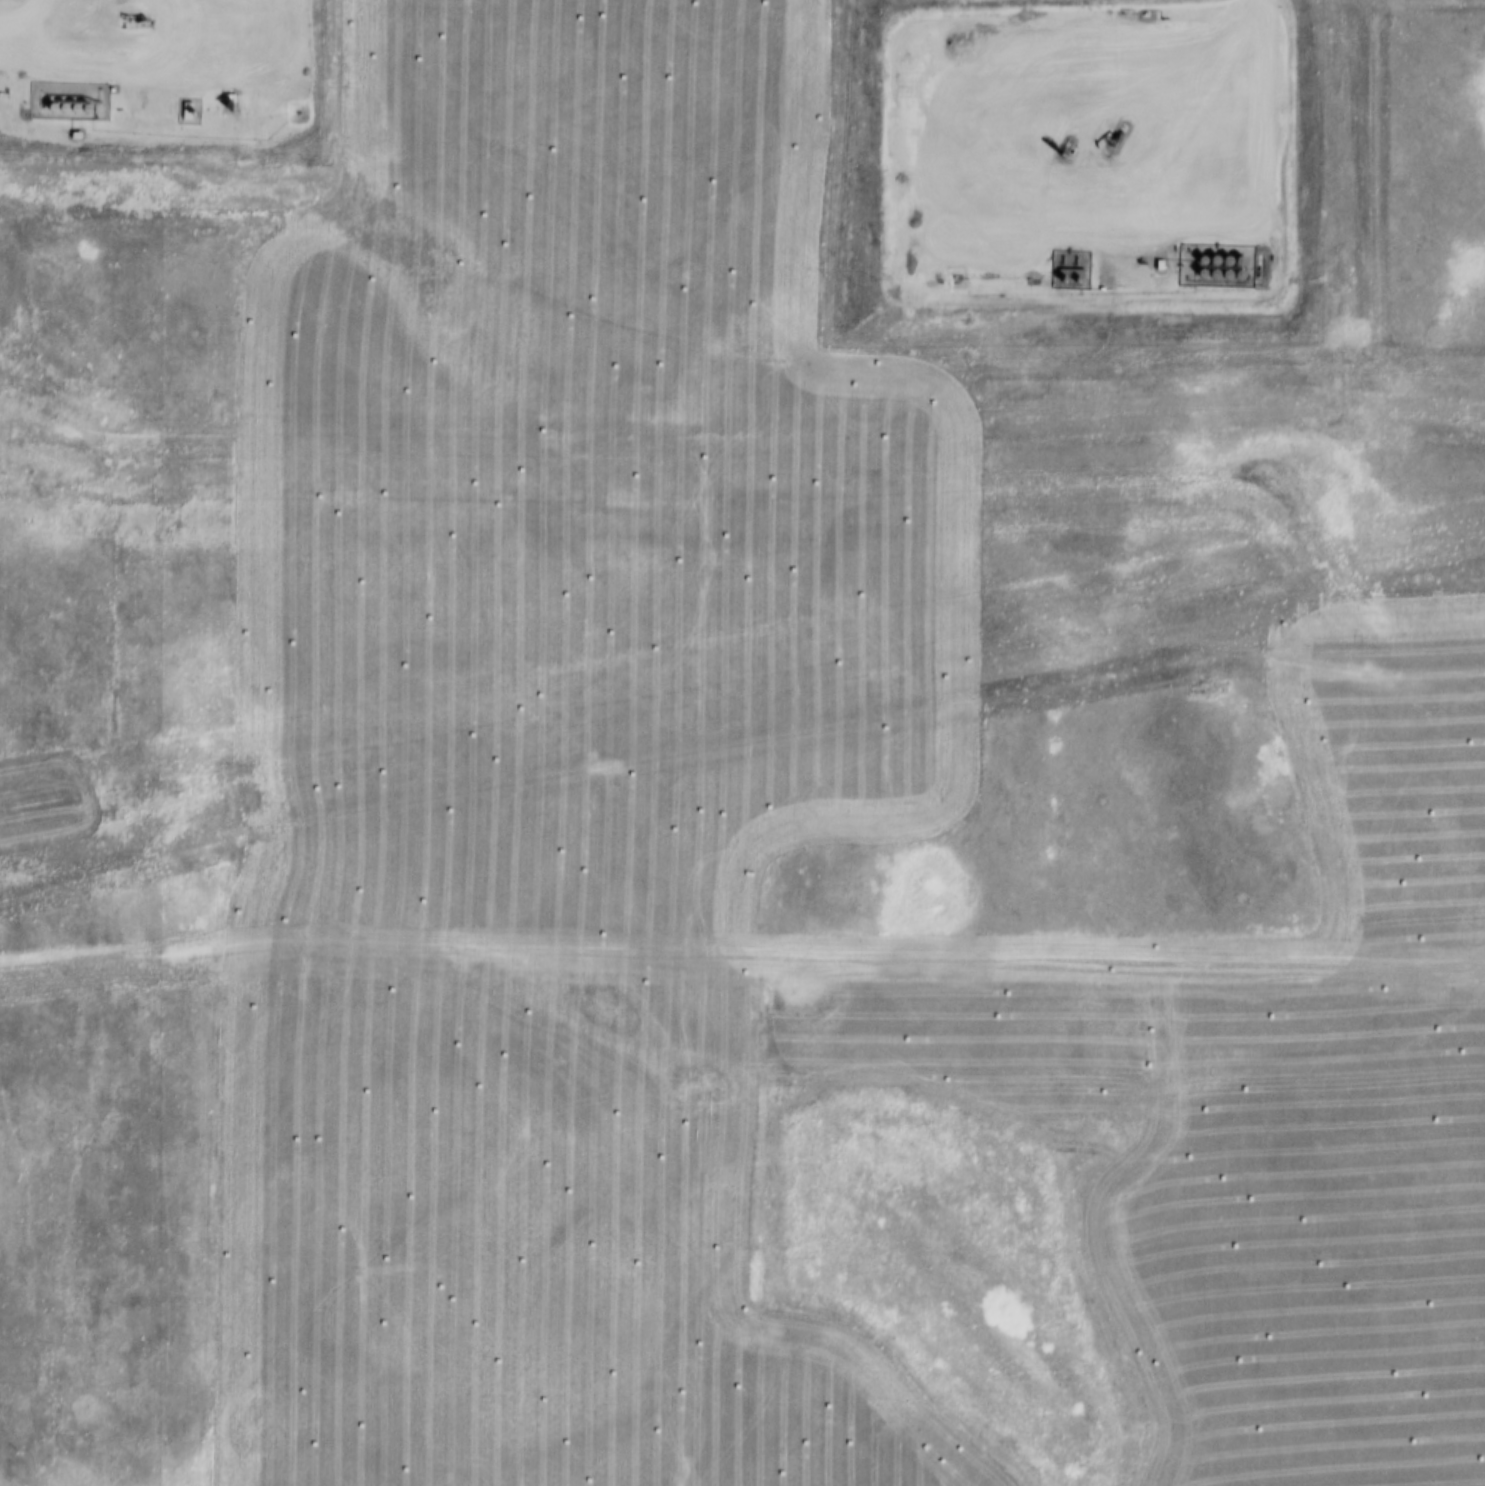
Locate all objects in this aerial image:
road: (1258, 10)
road: (17, 12)
petroleum well: (130, 20)
road: (116, 74)
building: (185, 115)
building: (71, 135)
petroleum well: (1110, 140)
petroleum well: (1059, 149)
road: (976, 227)
building: (1156, 264)
building: (1067, 274)
road: (746, 1220)

